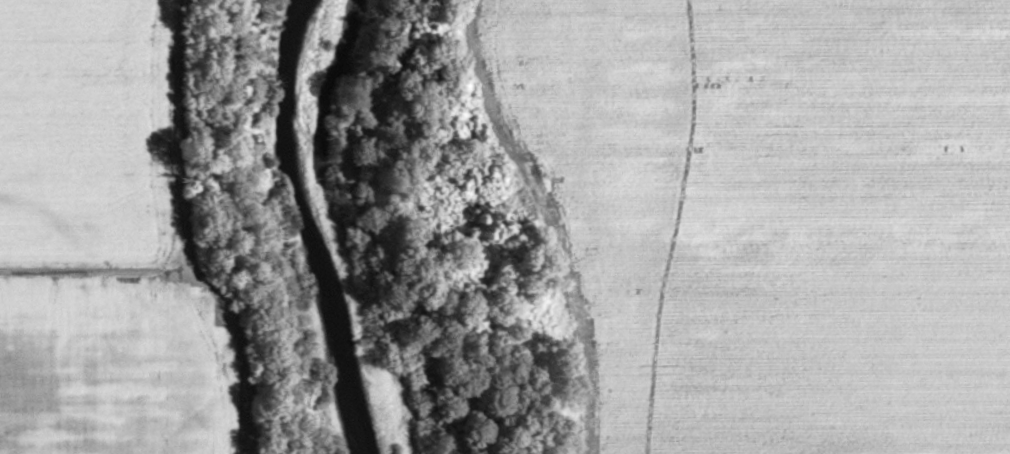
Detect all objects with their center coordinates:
road: (548, 221)
river: (308, 228)
road: (80, 270)

